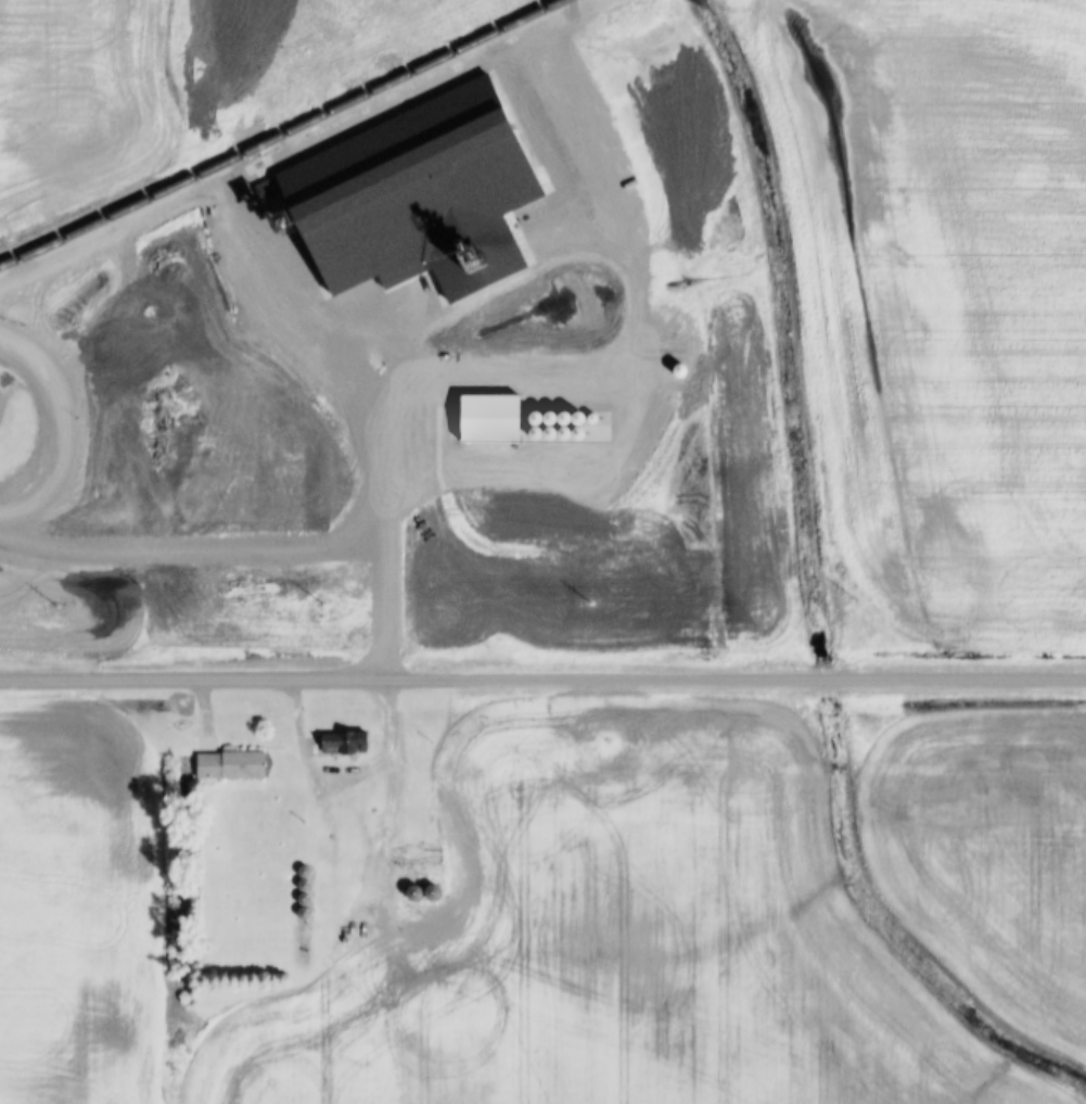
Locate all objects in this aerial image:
building: (500, 557)
road: (542, 677)
building: (346, 741)
building: (232, 765)
building: (425, 868)

